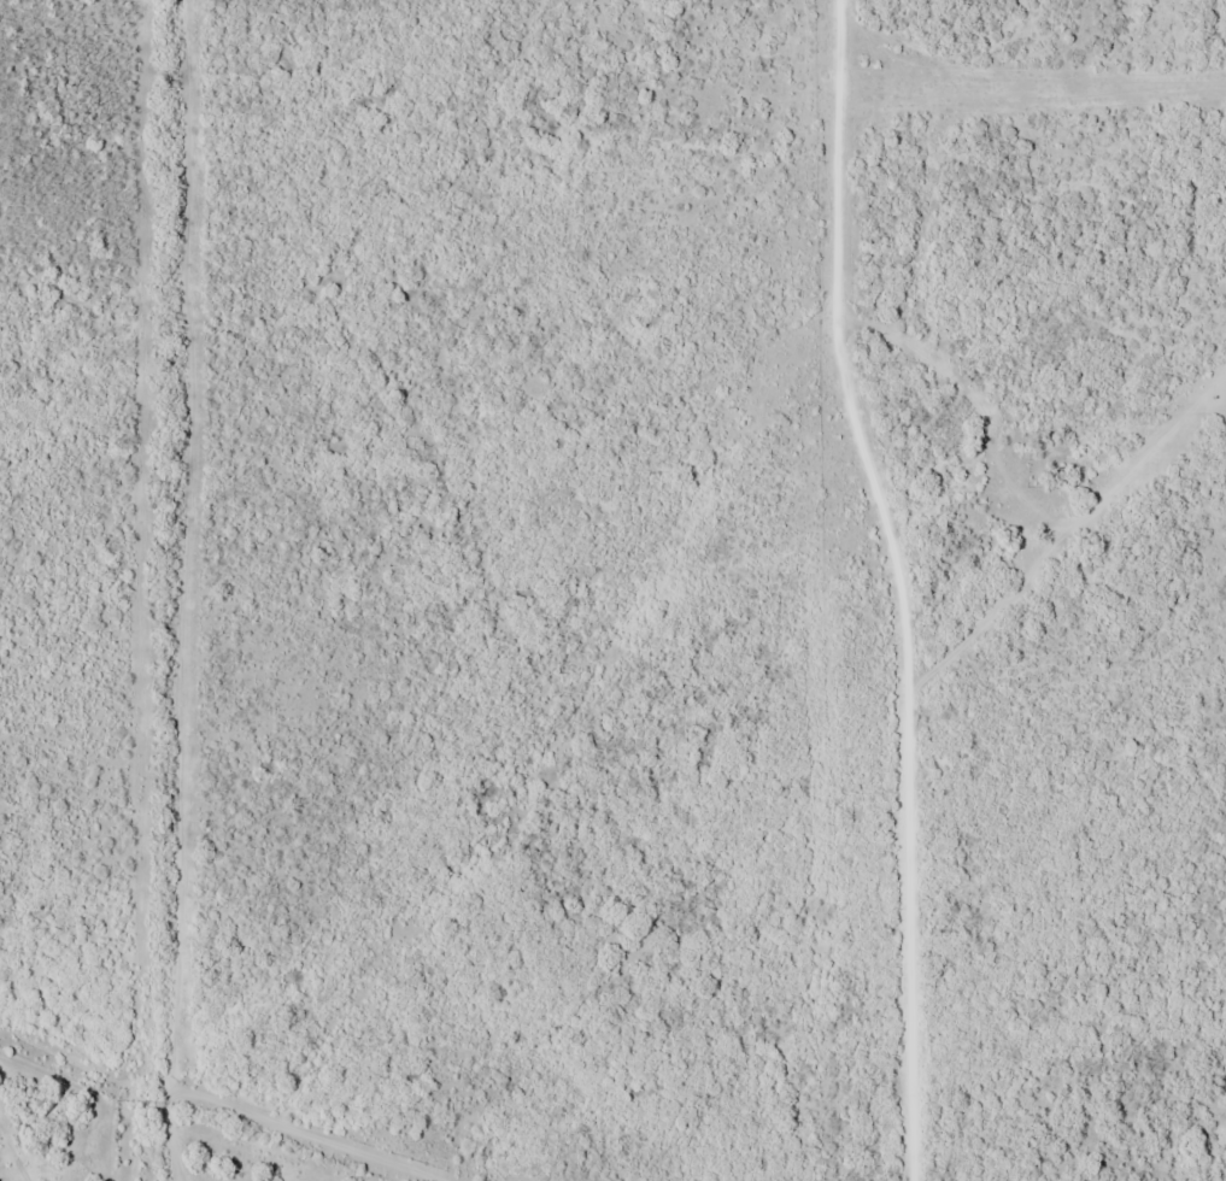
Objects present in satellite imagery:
road: (898, 586)

